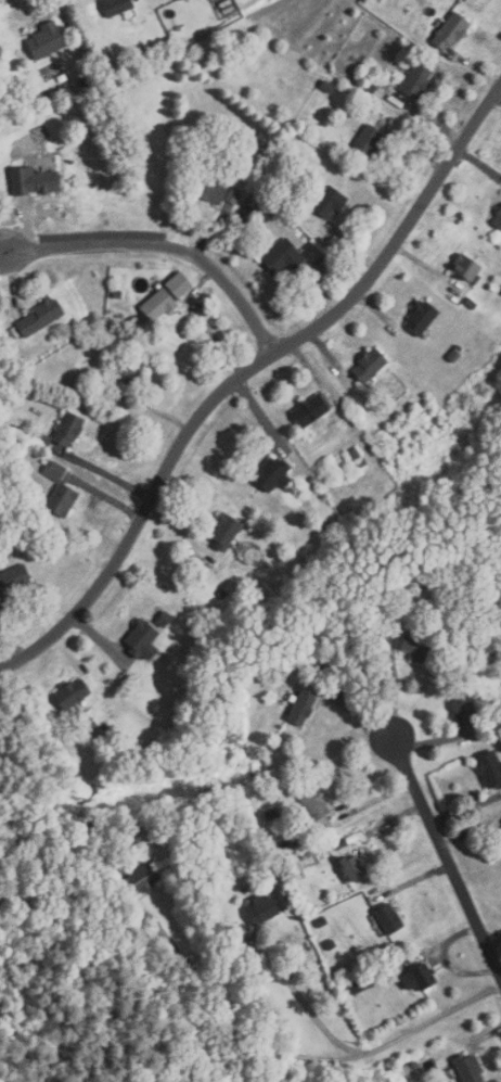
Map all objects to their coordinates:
road: (39, 7)
building: (117, 7)
building: (451, 31)
building: (46, 40)
road: (475, 71)
building: (416, 80)
building: (373, 86)
building: (327, 88)
road: (498, 96)
road: (432, 122)
building: (261, 140)
building: (368, 141)
road: (418, 147)
building: (301, 153)
road: (479, 164)
building: (34, 182)
building: (209, 190)
building: (233, 195)
building: (329, 202)
building: (275, 216)
building: (498, 219)
road: (26, 227)
road: (215, 234)
road: (165, 245)
road: (351, 247)
road: (2, 251)
building: (284, 256)
building: (466, 267)
road: (429, 268)
road: (12, 282)
building: (178, 284)
road: (202, 284)
road: (322, 289)
building: (471, 303)
building: (157, 306)
building: (40, 317)
road: (382, 317)
building: (421, 318)
road: (330, 356)
road: (306, 364)
building: (370, 366)
building: (125, 372)
road: (244, 374)
building: (2, 393)
building: (311, 410)
road: (159, 411)
road: (260, 416)
building: (68, 430)
building: (41, 440)
building: (355, 455)
building: (361, 463)
building: (54, 470)
road: (103, 470)
building: (271, 475)
road: (105, 497)
building: (62, 500)
building: (226, 529)
building: (327, 529)
road: (182, 531)
building: (29, 534)
building: (15, 577)
building: (222, 594)
building: (409, 600)
building: (166, 619)
building: (143, 638)
road: (9, 639)
road: (100, 639)
building: (418, 646)
road: (68, 654)
building: (342, 667)
building: (325, 672)
road: (394, 686)
building: (72, 692)
building: (301, 708)
building: (464, 709)
road: (357, 712)
building: (90, 722)
building: (496, 729)
road: (437, 739)
building: (490, 767)
road: (375, 801)
building: (316, 804)
road: (466, 811)
building: (270, 814)
building: (500, 820)
road: (390, 822)
road: (467, 832)
building: (293, 840)
building: (342, 842)
building: (311, 853)
road: (446, 855)
building: (266, 866)
building: (352, 867)
building: (142, 878)
road: (418, 879)
building: (281, 896)
building: (262, 909)
building: (390, 917)
building: (321, 921)
road: (494, 941)
building: (331, 943)
road: (427, 950)
road: (446, 959)
building: (420, 977)
building: (361, 983)
road: (313, 1016)
road: (434, 1019)
road: (229, 1024)
road: (480, 1038)
building: (468, 1068)

